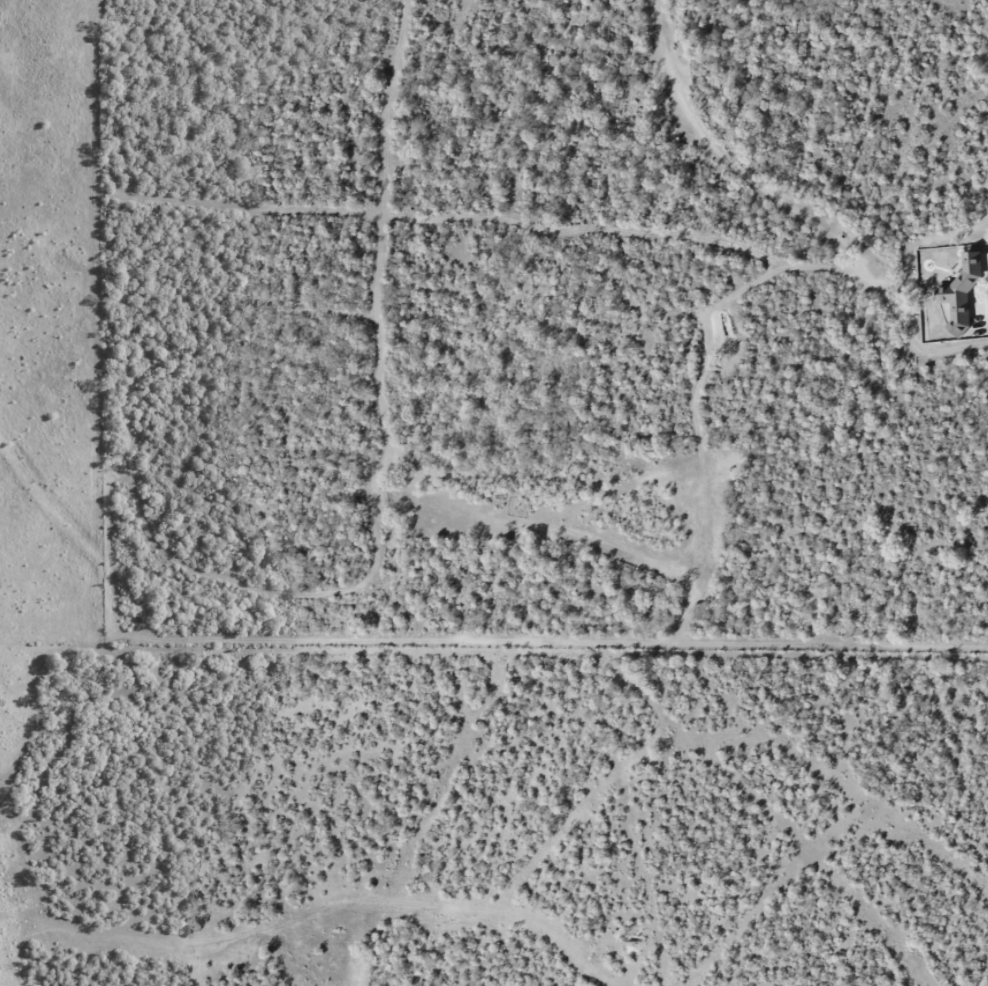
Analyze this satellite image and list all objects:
building: (961, 295)
road: (968, 605)

